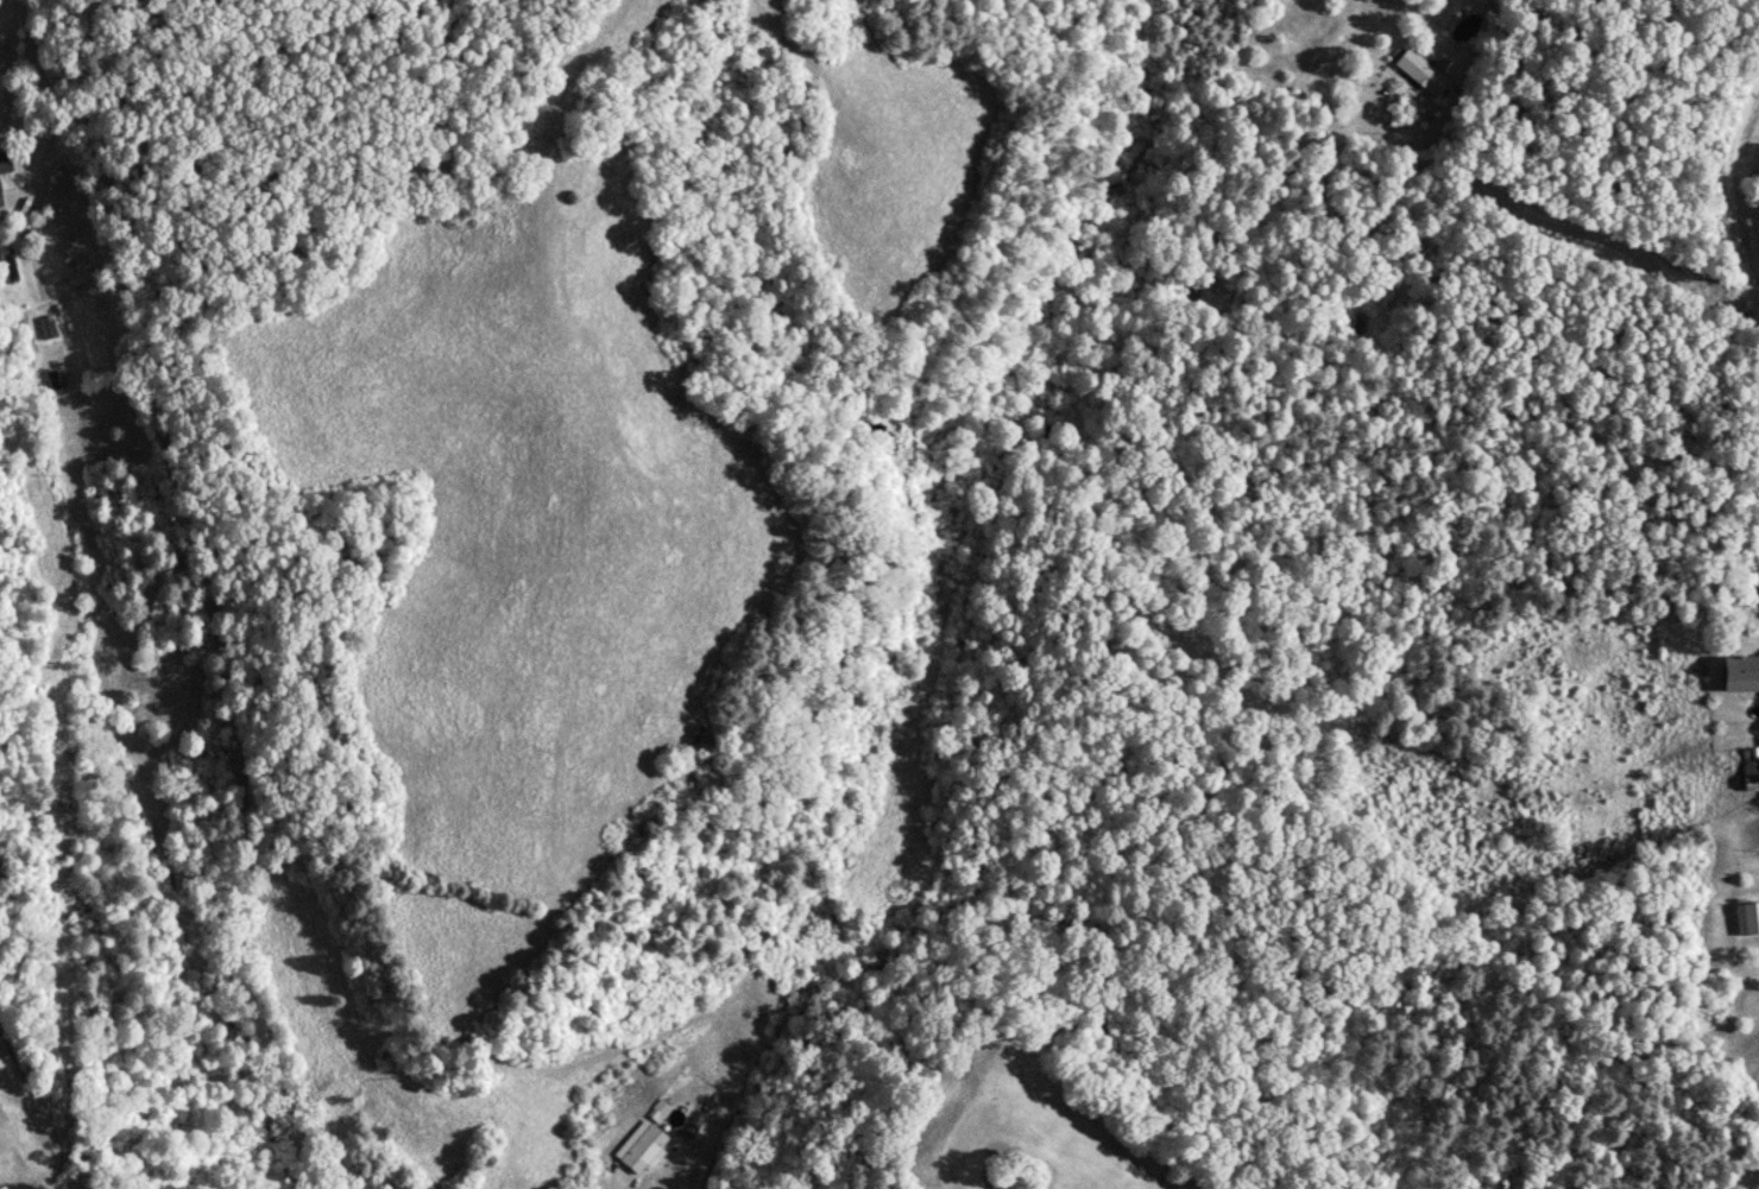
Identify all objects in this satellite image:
building: (1424, 74)
building: (6, 164)
building: (0, 194)
road: (1728, 202)
road: (1553, 232)
building: (50, 328)
road: (176, 638)
building: (1748, 919)
building: (644, 1147)

